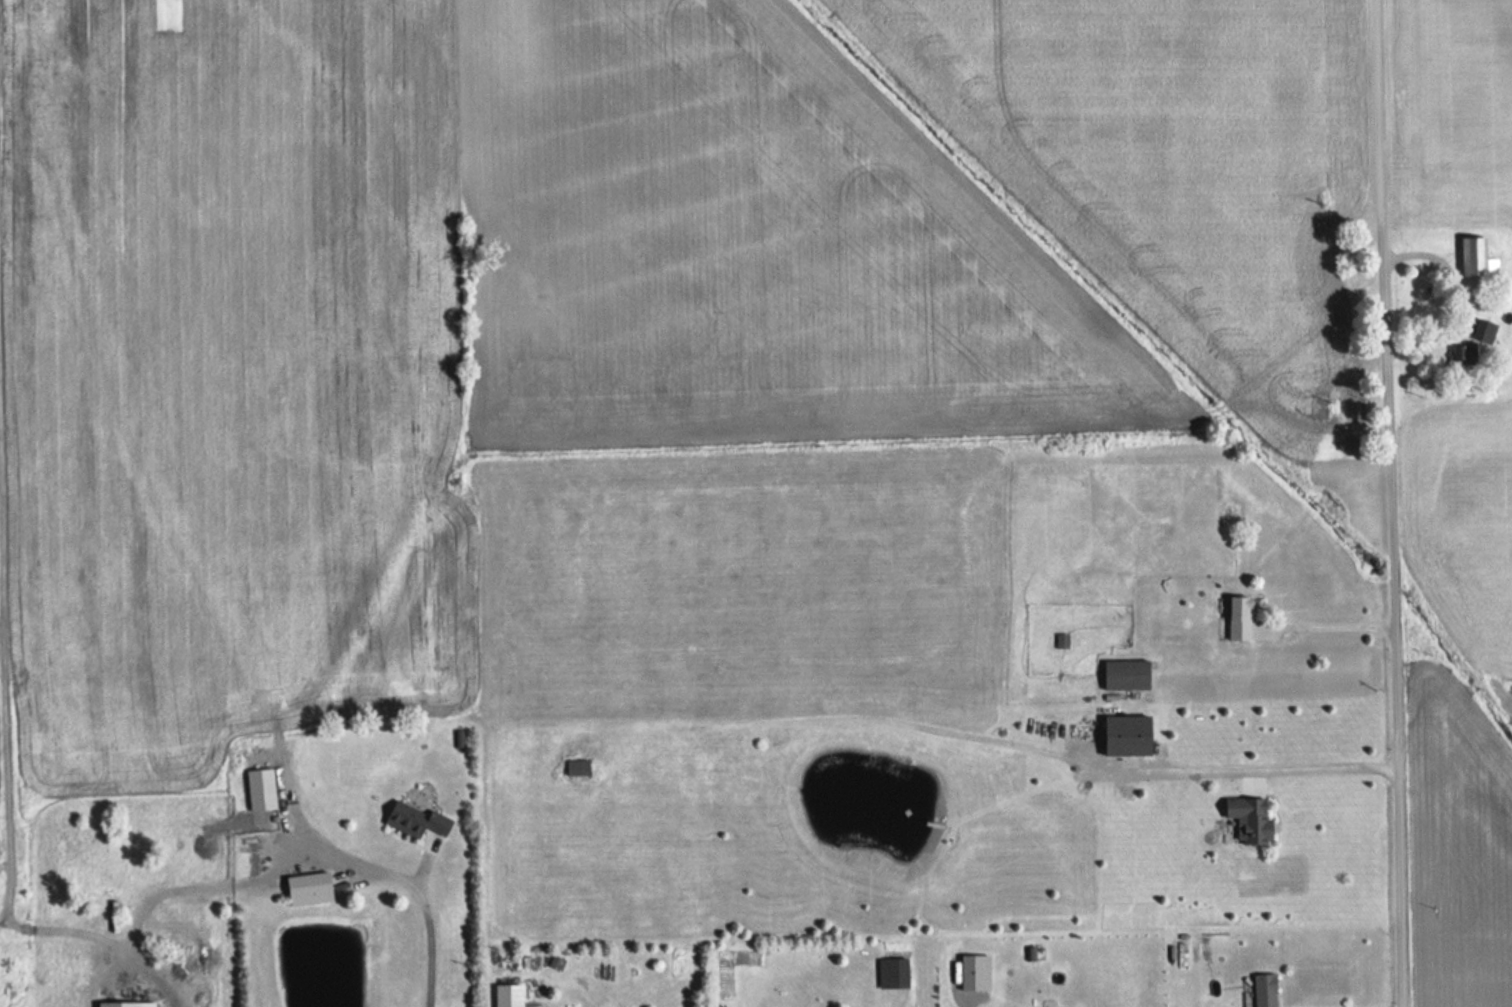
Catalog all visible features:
building: (1481, 261)
building: (1488, 333)
building: (1468, 355)
road: (1401, 503)
building: (1244, 621)
road: (1338, 626)
building: (1131, 676)
building: (1133, 737)
building: (580, 768)
road: (1239, 769)
building: (1255, 819)
building: (419, 822)
road: (274, 857)
building: (314, 890)
building: (897, 974)
building: (1269, 991)
building: (123, 1005)

